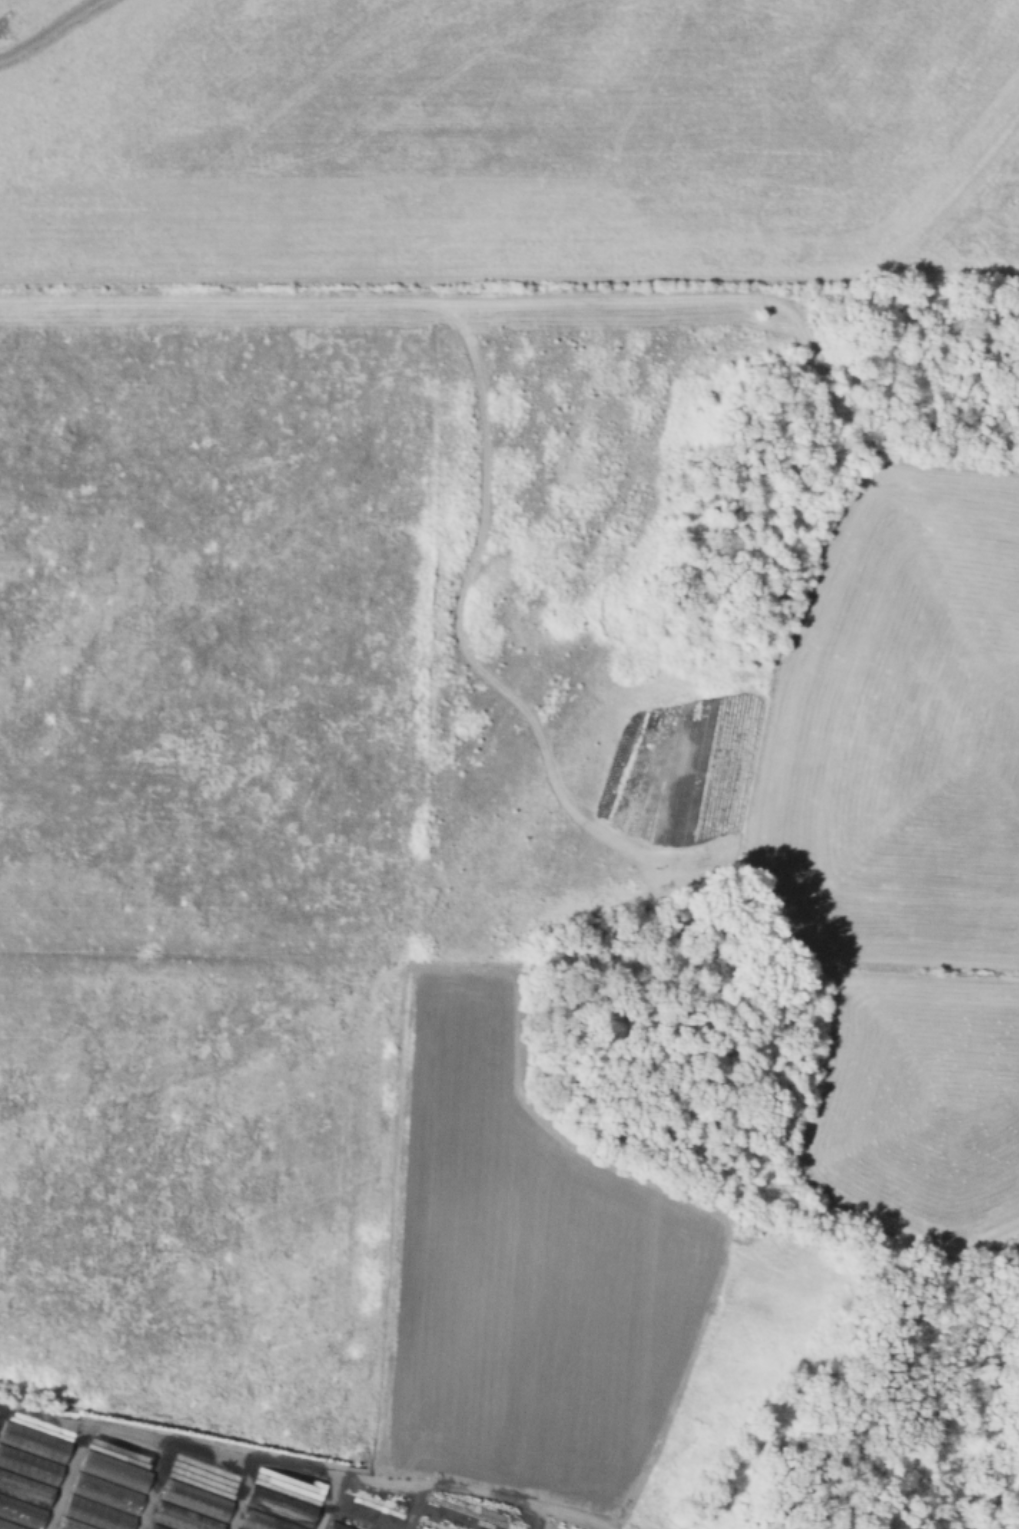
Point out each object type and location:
road: (560, 300)
crop: (467, 699)
road: (701, 966)
road: (1, 1412)
road: (42, 1418)
building: (34, 1442)
building: (29, 1466)
road: (298, 1467)
building: (114, 1471)
road: (154, 1486)
building: (26, 1490)
building: (106, 1493)
road: (241, 1494)
building: (195, 1500)
road: (329, 1502)
building: (281, 1507)
building: (21, 1513)
building: (97, 1515)
building: (181, 1518)
building: (262, 1521)
building: (71, 1524)
building: (8, 1526)
building: (155, 1527)

